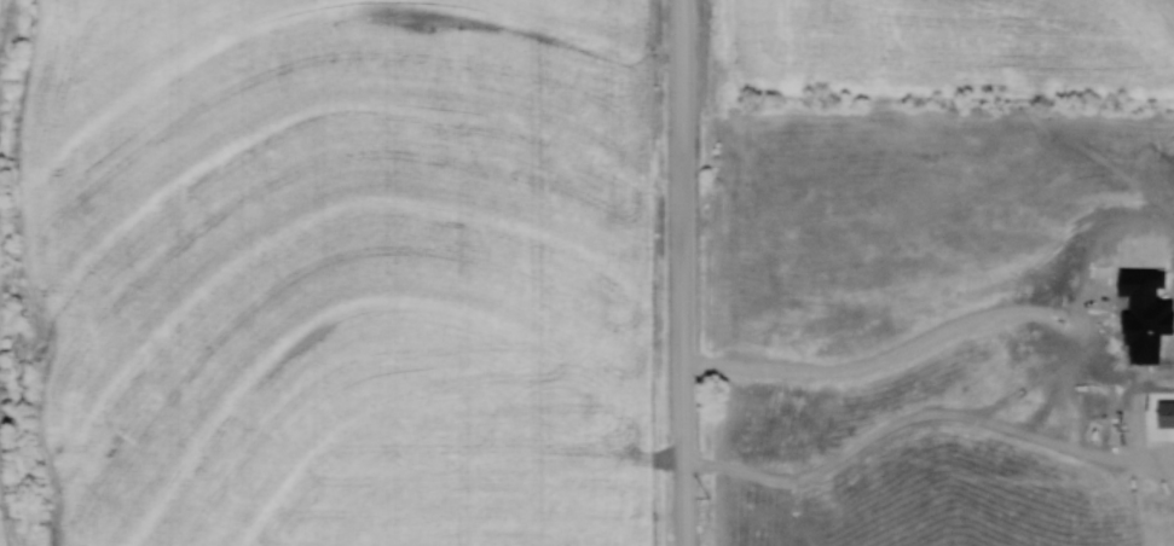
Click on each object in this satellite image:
road: (683, 272)
road: (883, 358)
building: (1166, 412)
road: (923, 414)

